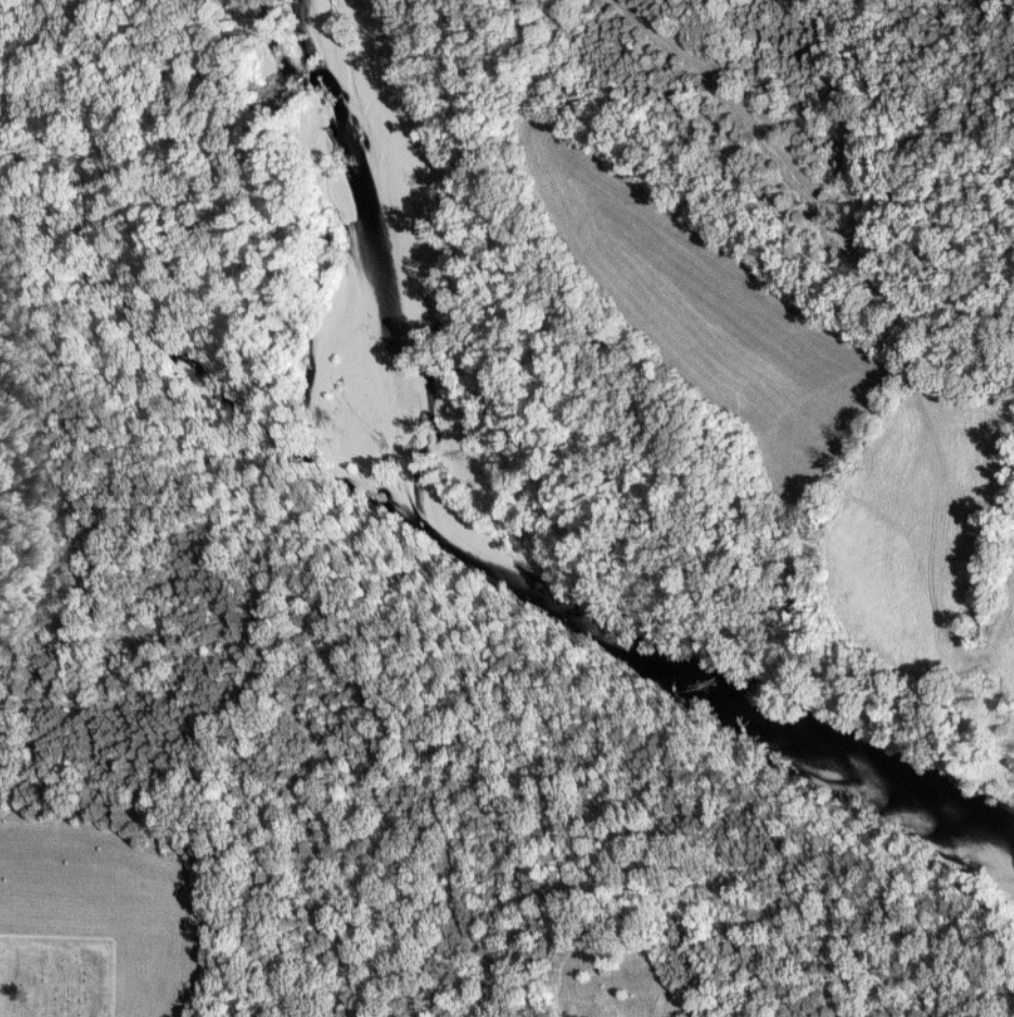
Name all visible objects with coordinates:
road: (999, 601)
park: (54, 977)

